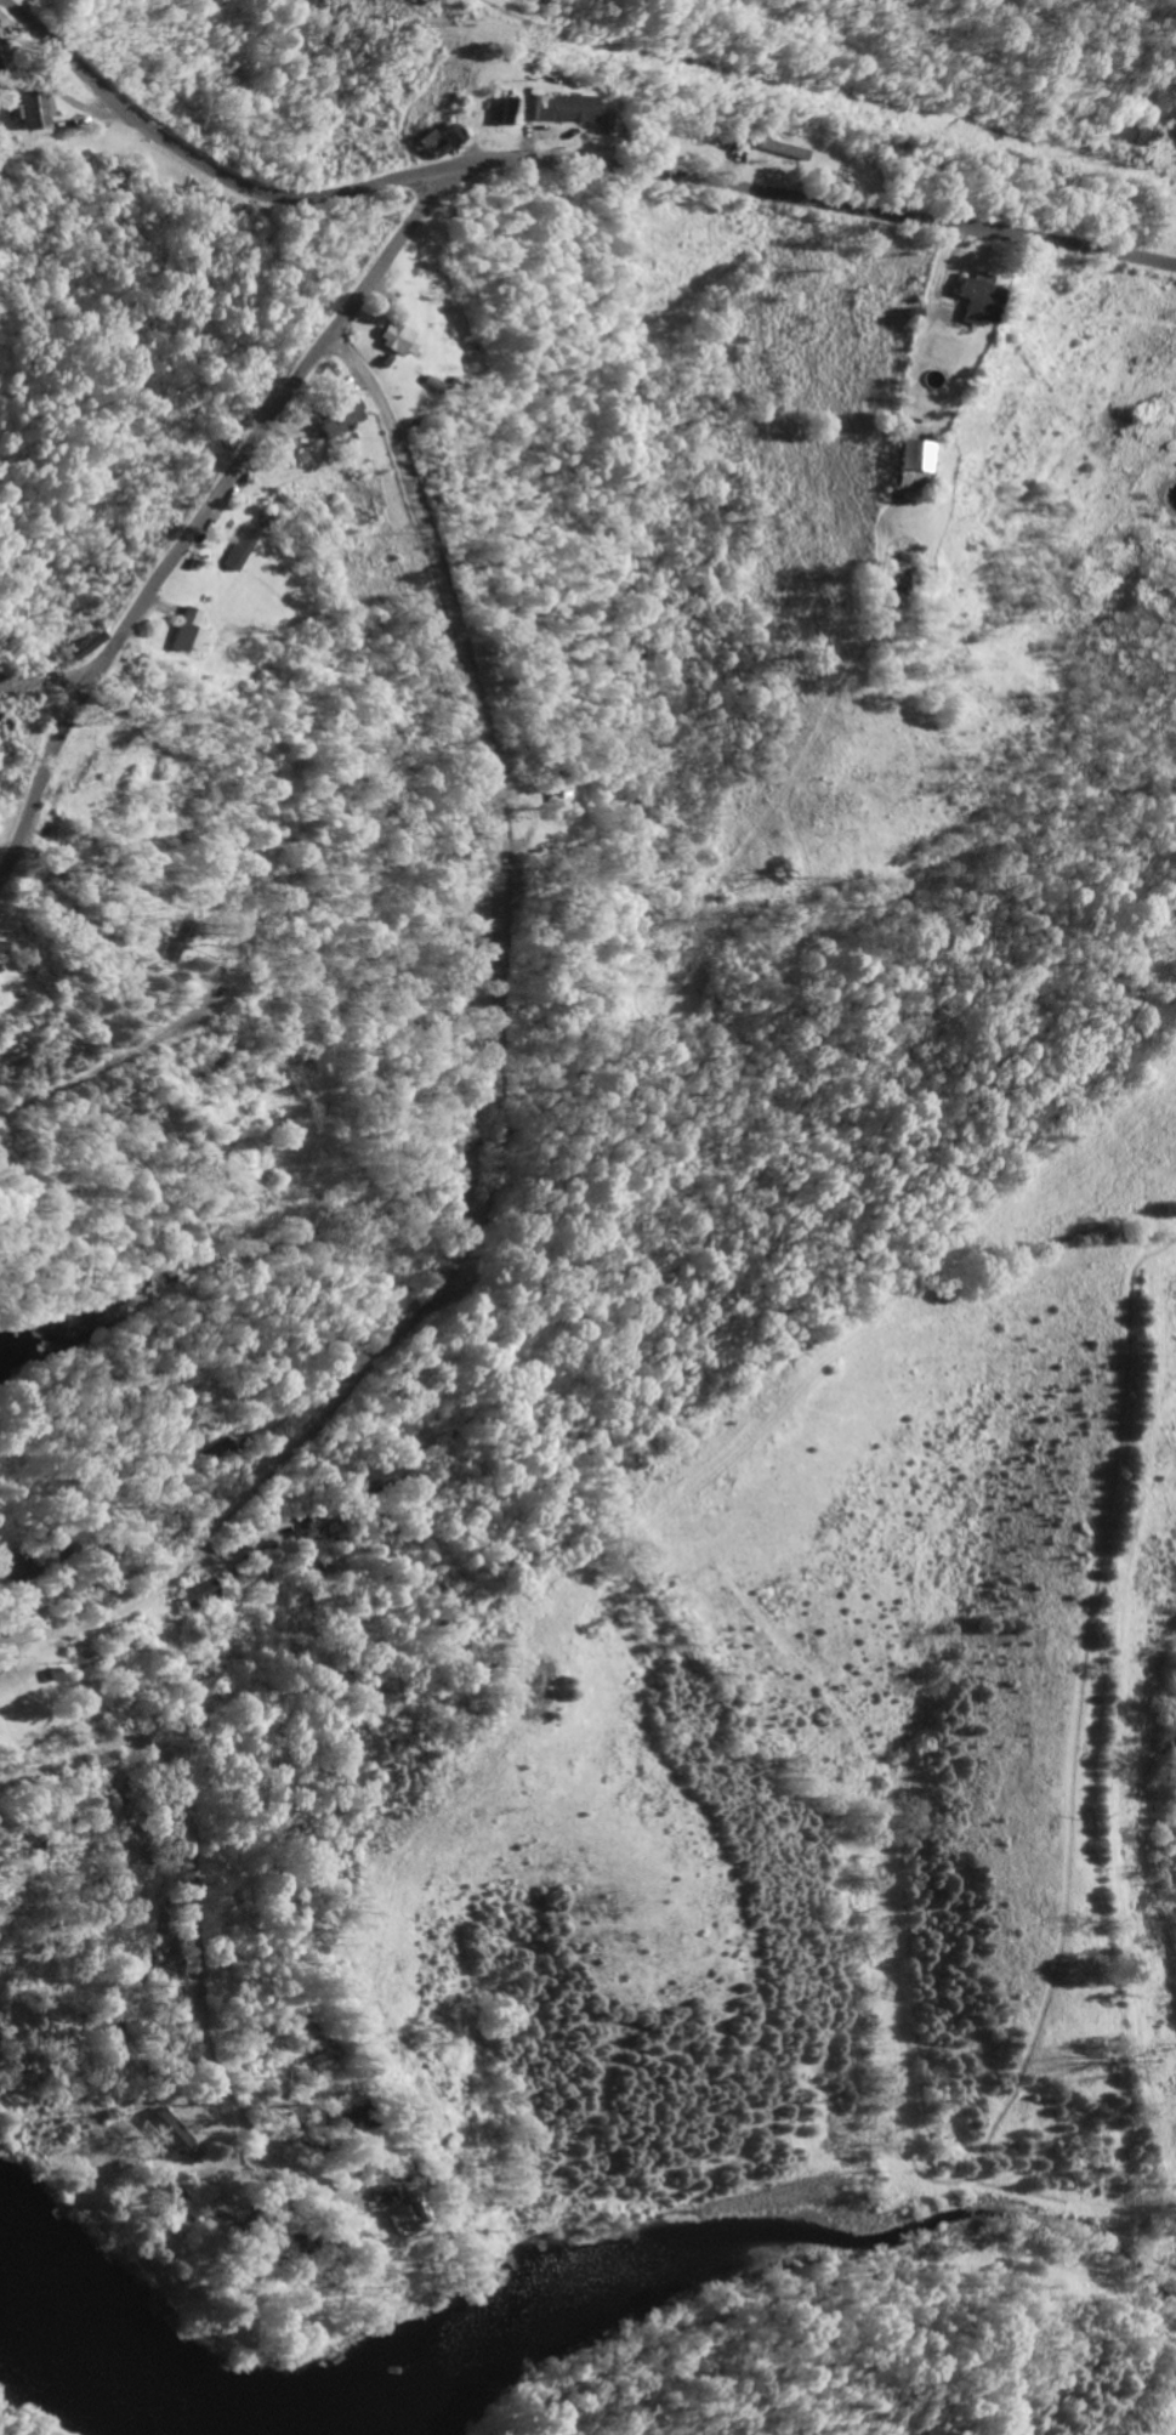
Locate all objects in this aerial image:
building: (559, 107)
building: (24, 109)
building: (502, 110)
building: (449, 135)
building: (780, 148)
road: (558, 160)
building: (968, 297)
building: (387, 337)
building: (335, 418)
building: (908, 464)
road: (205, 504)
building: (235, 547)
building: (183, 631)
road: (47, 676)
building: (556, 804)
road: (110, 1063)
road: (505, 1094)
building: (214, 1449)
road: (320, 1522)
building: (192, 1591)
road: (198, 1860)
building: (317, 2059)
building: (340, 2116)
building: (170, 2129)
road: (388, 2178)
building: (220, 2209)
building: (394, 2215)

